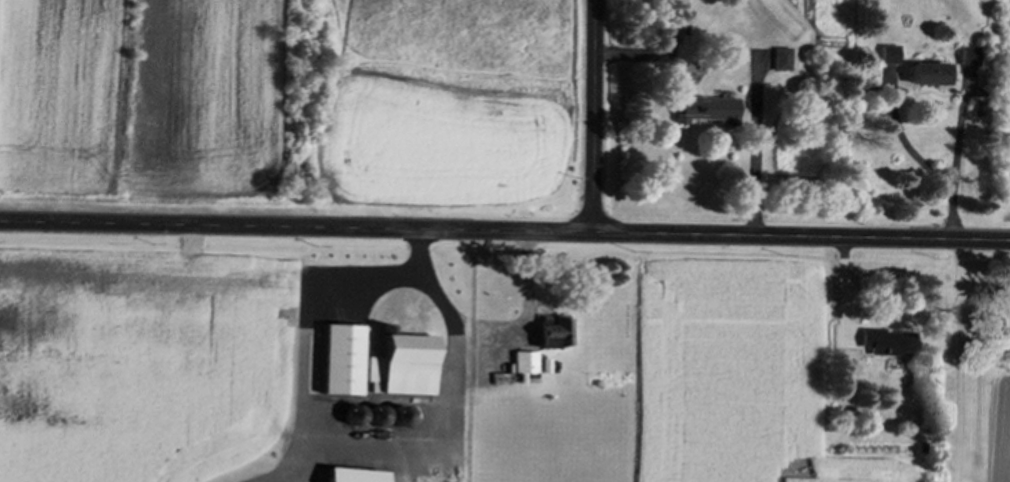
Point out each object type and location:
building: (669, 36)
building: (886, 57)
building: (967, 58)
building: (780, 61)
building: (924, 76)
building: (702, 113)
road: (595, 119)
road: (920, 160)
road: (752, 167)
road: (504, 237)
road: (307, 316)
building: (548, 335)
building: (884, 345)
crop: (145, 363)
building: (338, 363)
road: (958, 363)
building: (522, 365)
building: (398, 368)
crop: (746, 375)
building: (349, 418)
building: (373, 418)
building: (397, 419)
crop: (999, 429)
crop: (445, 476)

